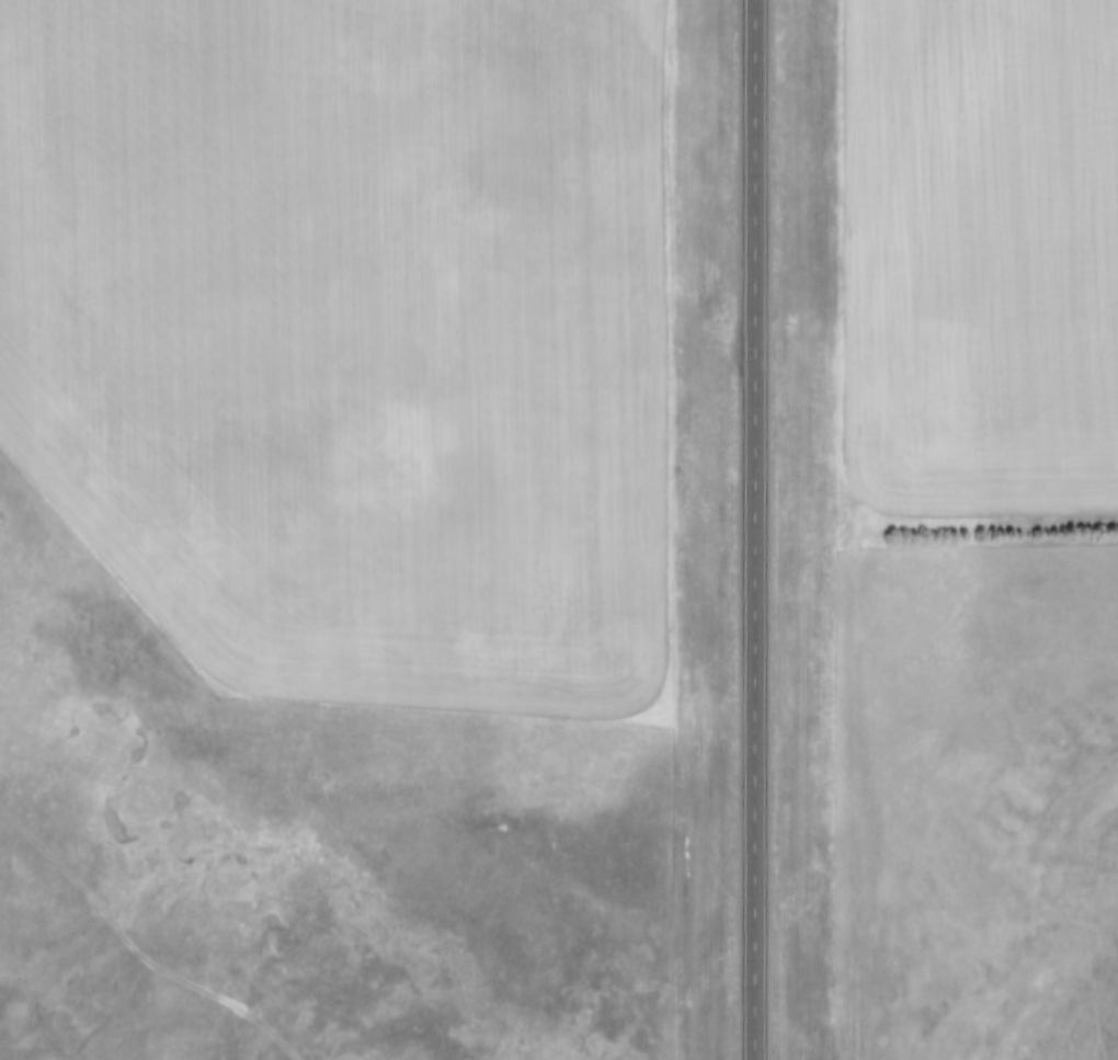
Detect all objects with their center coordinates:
road: (757, 529)
road: (133, 950)

